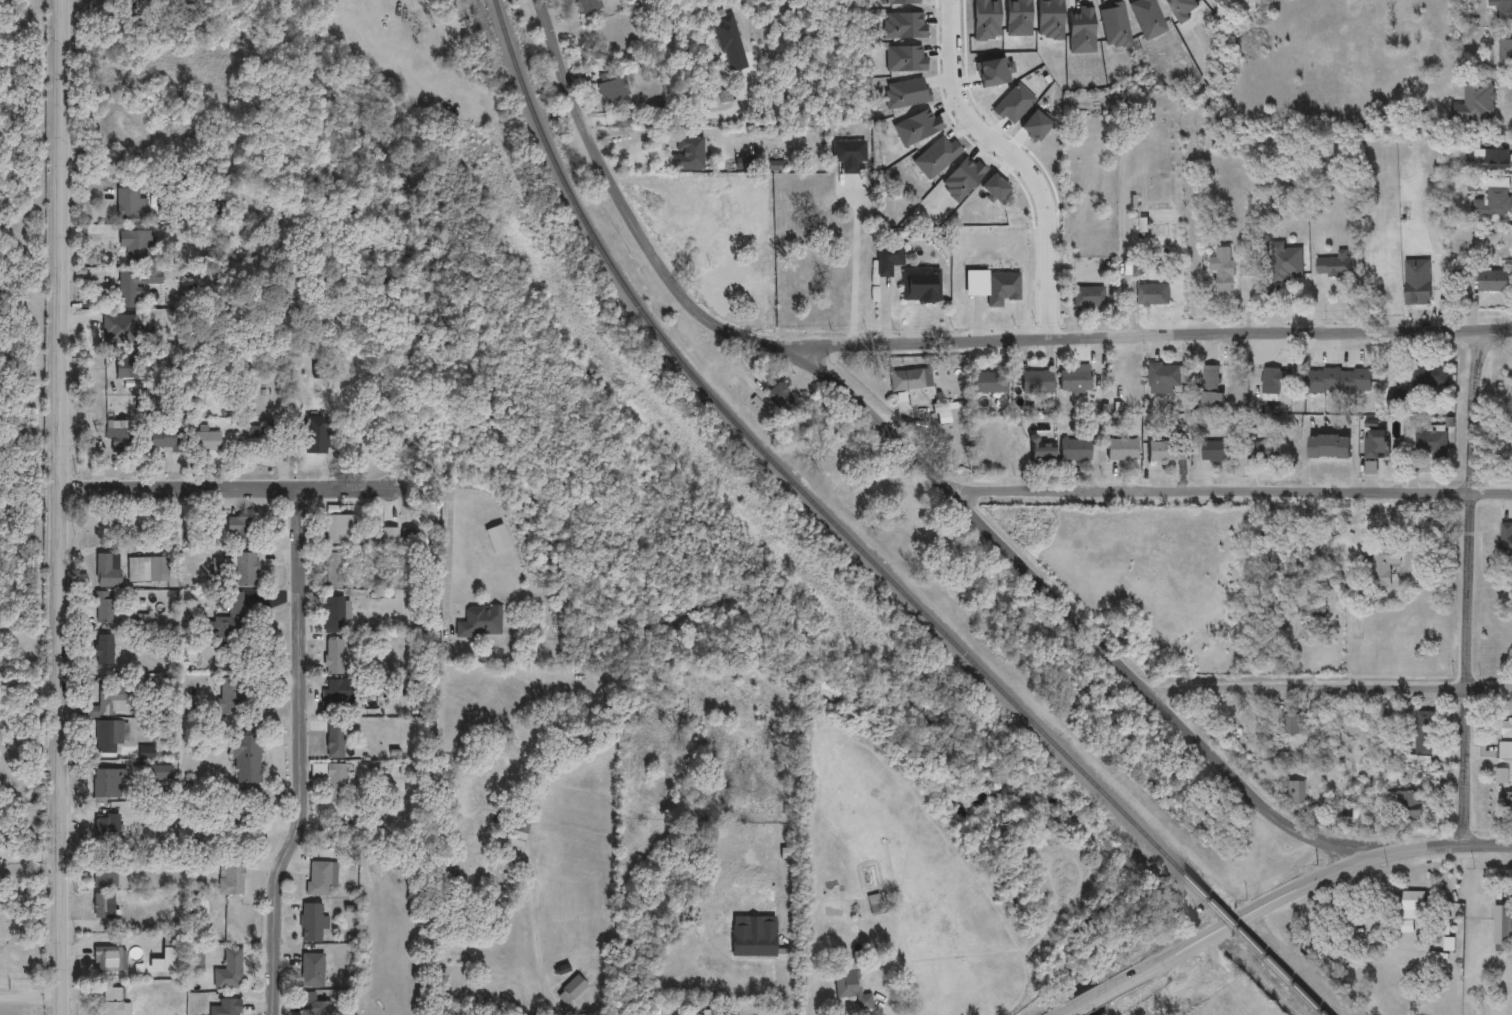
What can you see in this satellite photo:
building: (1477, 1)
building: (588, 5)
building: (1501, 8)
building: (730, 43)
building: (1505, 51)
building: (612, 85)
building: (1475, 101)
road: (679, 115)
building: (688, 153)
building: (848, 154)
road: (1015, 159)
building: (1497, 160)
building: (1490, 196)
building: (720, 248)
building: (889, 258)
road: (864, 264)
building: (1285, 264)
building: (1335, 266)
building: (1134, 268)
building: (1247, 268)
building: (1222, 271)
road: (1437, 274)
building: (1492, 282)
building: (921, 285)
building: (1002, 288)
building: (1153, 295)
building: (1088, 296)
landfill: (17, 325)
road: (1154, 334)
building: (1430, 374)
building: (1165, 378)
building: (910, 379)
building: (1074, 380)
building: (1038, 382)
building: (1339, 382)
building: (990, 383)
building: (1274, 383)
building: (1210, 388)
building: (780, 397)
building: (315, 438)
building: (1376, 445)
building: (1328, 447)
building: (1430, 447)
road: (908, 449)
building: (1122, 449)
building: (1075, 450)
building: (1167, 451)
building: (1217, 452)
building: (1266, 452)
building: (1042, 454)
road: (228, 488)
road: (1229, 492)
road: (62, 496)
building: (338, 528)
road: (452, 533)
building: (390, 535)
railway: (857, 543)
building: (1383, 561)
building: (333, 571)
road: (1468, 587)
building: (332, 615)
building: (480, 622)
building: (333, 657)
road: (1331, 688)
road: (29, 690)
building: (336, 694)
building: (1383, 722)
building: (1291, 726)
building: (1308, 727)
building: (1237, 729)
building: (1420, 737)
building: (334, 740)
building: (1506, 740)
road: (299, 753)
building: (331, 778)
building: (1292, 793)
building: (1409, 806)
building: (1507, 807)
building: (516, 831)
road: (1433, 847)
road: (29, 853)
building: (320, 876)
building: (1407, 902)
building: (878, 903)
building: (311, 922)
building: (1503, 925)
road: (1208, 936)
building: (754, 940)
road: (794, 968)
building: (311, 971)
building: (851, 988)
building: (570, 990)
road: (30, 995)
road: (60, 1004)
building: (314, 1005)
road: (886, 1006)

